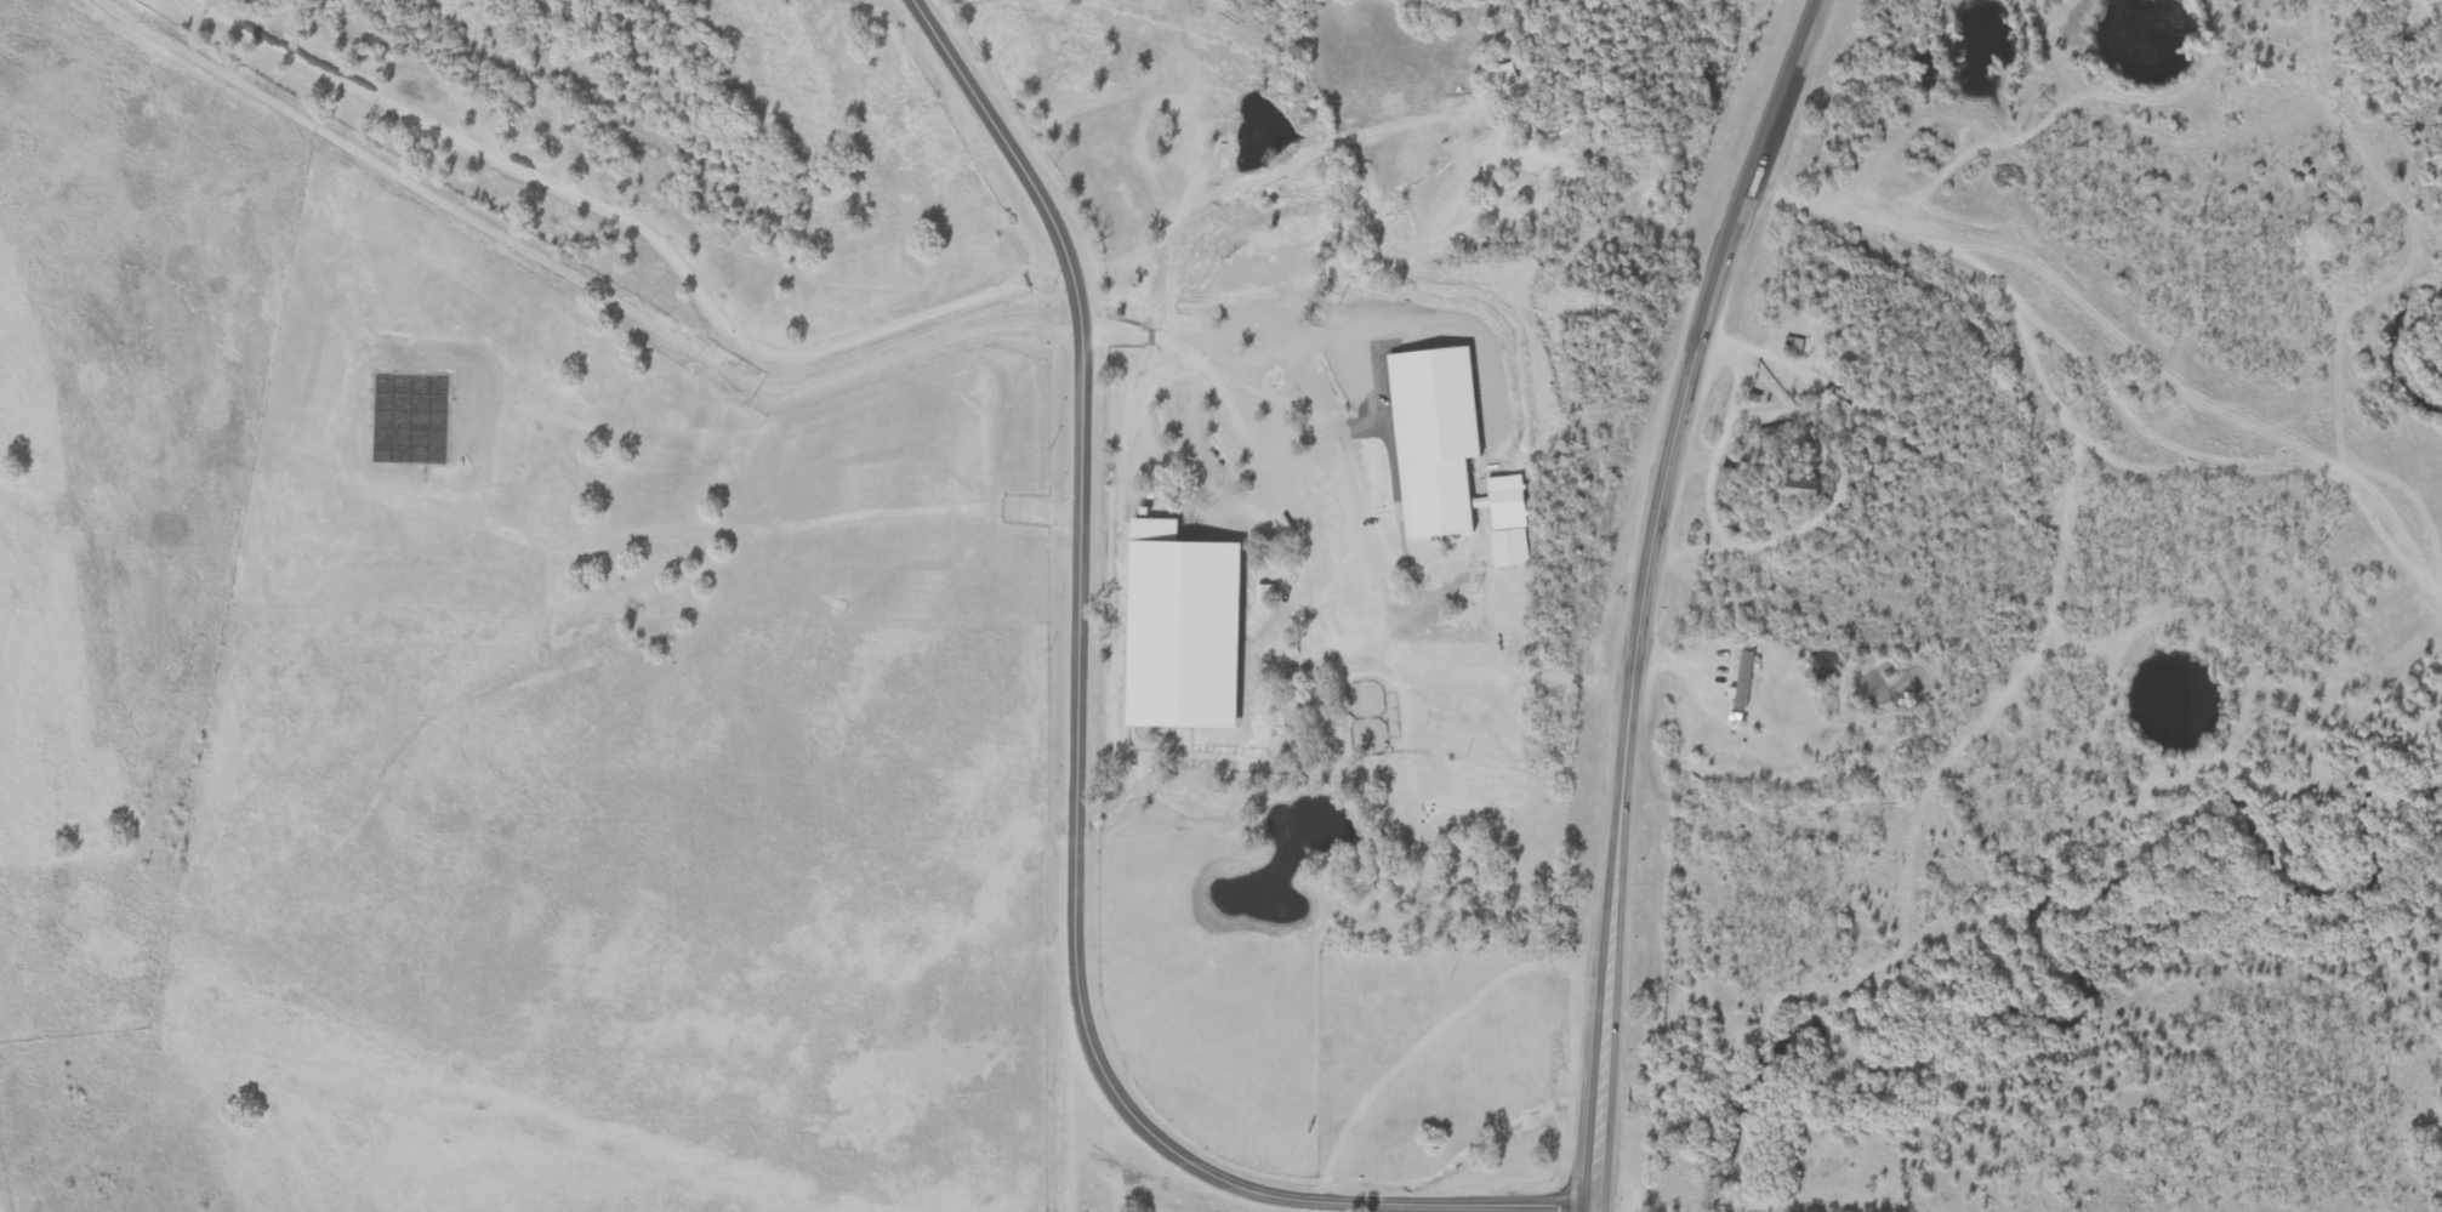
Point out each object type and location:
building: (1548, 165)
road: (638, 224)
road: (1321, 412)
road: (1755, 412)
building: (1776, 437)
road: (2088, 446)
road: (1691, 451)
road: (1713, 453)
building: (1725, 480)
road: (1834, 493)
building: (1791, 501)
building: (1461, 508)
road: (1645, 593)
building: (1738, 678)
road: (1077, 781)
building: (1412, 1023)
road: (1068, 1116)

